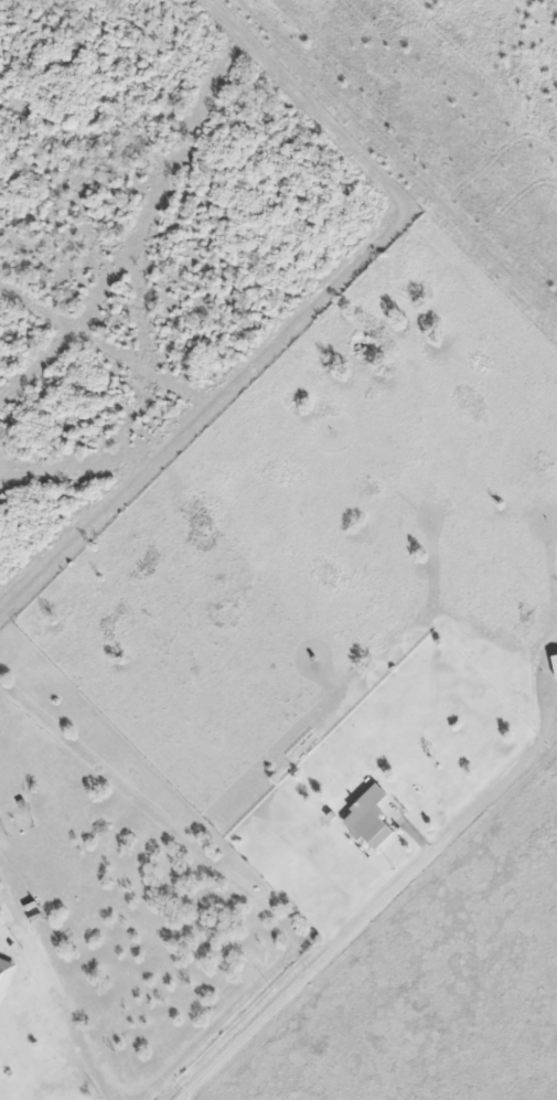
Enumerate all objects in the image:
building: (555, 661)
building: (352, 804)
building: (374, 825)
building: (32, 906)
building: (6, 972)
road: (302, 974)

